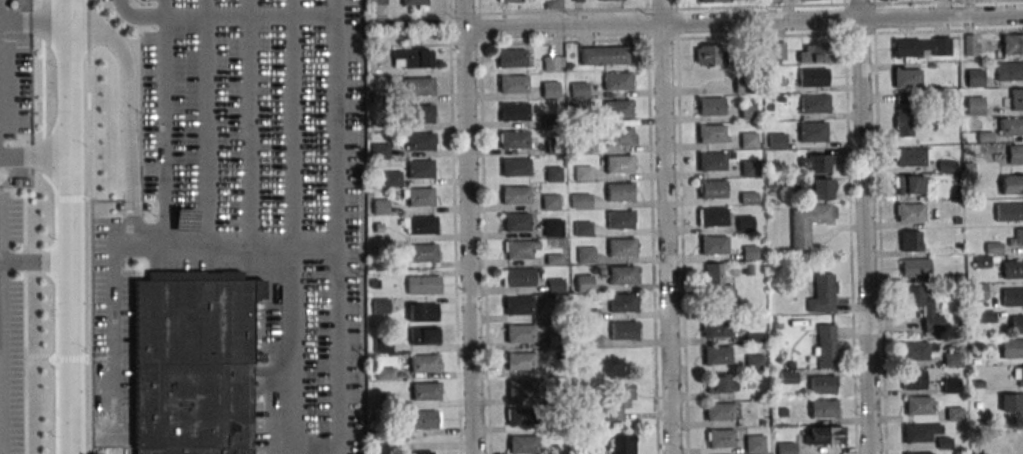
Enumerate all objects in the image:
building: (610, 0)
building: (808, 0)
building: (376, 1)
building: (511, 1)
building: (578, 1)
building: (714, 1)
building: (413, 3)
building: (551, 4)
road: (750, 7)
road: (860, 8)
road: (659, 11)
road: (461, 14)
road: (222, 15)
road: (941, 15)
road: (759, 20)
road: (560, 25)
road: (751, 37)
building: (1013, 44)
building: (971, 45)
building: (922, 46)
building: (775, 50)
building: (814, 53)
building: (604, 55)
building: (708, 55)
building: (512, 57)
building: (411, 58)
building: (551, 62)
building: (932, 66)
parking lot: (15, 68)
building: (1009, 71)
building: (813, 76)
building: (906, 77)
building: (974, 77)
building: (616, 80)
building: (512, 83)
building: (418, 85)
building: (744, 86)
building: (550, 89)
building: (578, 89)
building: (380, 97)
building: (903, 98)
building: (777, 100)
building: (1017, 100)
building: (815, 103)
building: (710, 105)
building: (976, 106)
building: (617, 108)
building: (514, 111)
building: (747, 111)
building: (420, 114)
building: (579, 117)
building: (551, 121)
road: (161, 122)
road: (206, 122)
road: (246, 122)
road: (289, 122)
road: (336, 122)
building: (904, 122)
building: (1010, 126)
building: (812, 131)
building: (712, 134)
building: (619, 136)
building: (986, 137)
building: (514, 139)
building: (748, 140)
building: (777, 140)
building: (419, 141)
building: (582, 145)
building: (555, 147)
building: (380, 151)
building: (1015, 153)
road: (35, 154)
building: (912, 156)
building: (710, 161)
building: (819, 163)
building: (620, 164)
building: (946, 166)
building: (514, 167)
building: (751, 168)
building: (969, 168)
building: (419, 169)
building: (552, 173)
building: (582, 173)
building: (393, 178)
building: (770, 183)
building: (908, 184)
building: (1012, 184)
building: (712, 189)
building: (822, 189)
building: (620, 191)
building: (515, 194)
building: (957, 194)
building: (418, 197)
building: (749, 198)
building: (579, 200)
building: (551, 201)
building: (380, 207)
building: (1009, 211)
building: (910, 212)
building: (712, 216)
road: (133, 218)
building: (620, 219)
building: (957, 220)
building: (516, 221)
building: (807, 222)
building: (744, 223)
building: (418, 224)
road: (88, 226)
road: (484, 226)
road: (652, 226)
road: (681, 226)
road: (881, 226)
road: (71, 227)
road: (454, 227)
road: (850, 227)
building: (379, 228)
building: (552, 228)
building: (581, 228)
road: (865, 236)
road: (666, 238)
building: (1017, 238)
building: (909, 240)
road: (467, 241)
building: (713, 244)
building: (959, 246)
building: (622, 247)
building: (994, 248)
building: (521, 249)
building: (377, 250)
building: (422, 252)
building: (750, 253)
building: (585, 255)
building: (554, 260)
road: (35, 262)
building: (983, 262)
building: (915, 267)
building: (1013, 269)
building: (748, 270)
building: (621, 275)
building: (518, 277)
building: (584, 283)
building: (718, 283)
building: (422, 284)
building: (375, 285)
building: (555, 285)
building: (978, 291)
building: (822, 294)
building: (1012, 297)
building: (622, 303)
building: (380, 305)
building: (921, 305)
building: (519, 307)
building: (424, 313)
building: (589, 316)
building: (984, 316)
building: (1017, 324)
road: (0, 325)
building: (715, 328)
building: (623, 330)
road: (111, 331)
building: (521, 334)
building: (753, 334)
building: (423, 337)
building: (556, 339)
building: (588, 340)
building: (794, 344)
building: (383, 345)
building: (826, 345)
building: (1012, 348)
building: (763, 349)
building: (914, 351)
building: (584, 354)
building: (716, 355)
building: (952, 359)
building: (520, 361)
building: (753, 361)
building: (194, 363)
building: (423, 363)
building: (386, 374)
building: (1018, 375)
building: (788, 378)
building: (913, 379)
building: (722, 384)
building: (822, 384)
building: (951, 385)
building: (979, 385)
building: (521, 389)
building: (425, 391)
building: (617, 398)
building: (384, 401)
building: (1011, 402)
building: (918, 404)
building: (977, 405)
building: (822, 409)
building: (719, 411)
building: (783, 412)
building: (954, 414)
building: (519, 416)
building: (423, 418)
building: (918, 432)
building: (823, 435)
building: (721, 438)
building: (1018, 442)
building: (944, 443)
building: (523, 444)
building: (622, 444)
building: (755, 445)
road: (315, 447)
building: (785, 448)
building: (419, 452)
building: (918, 453)

